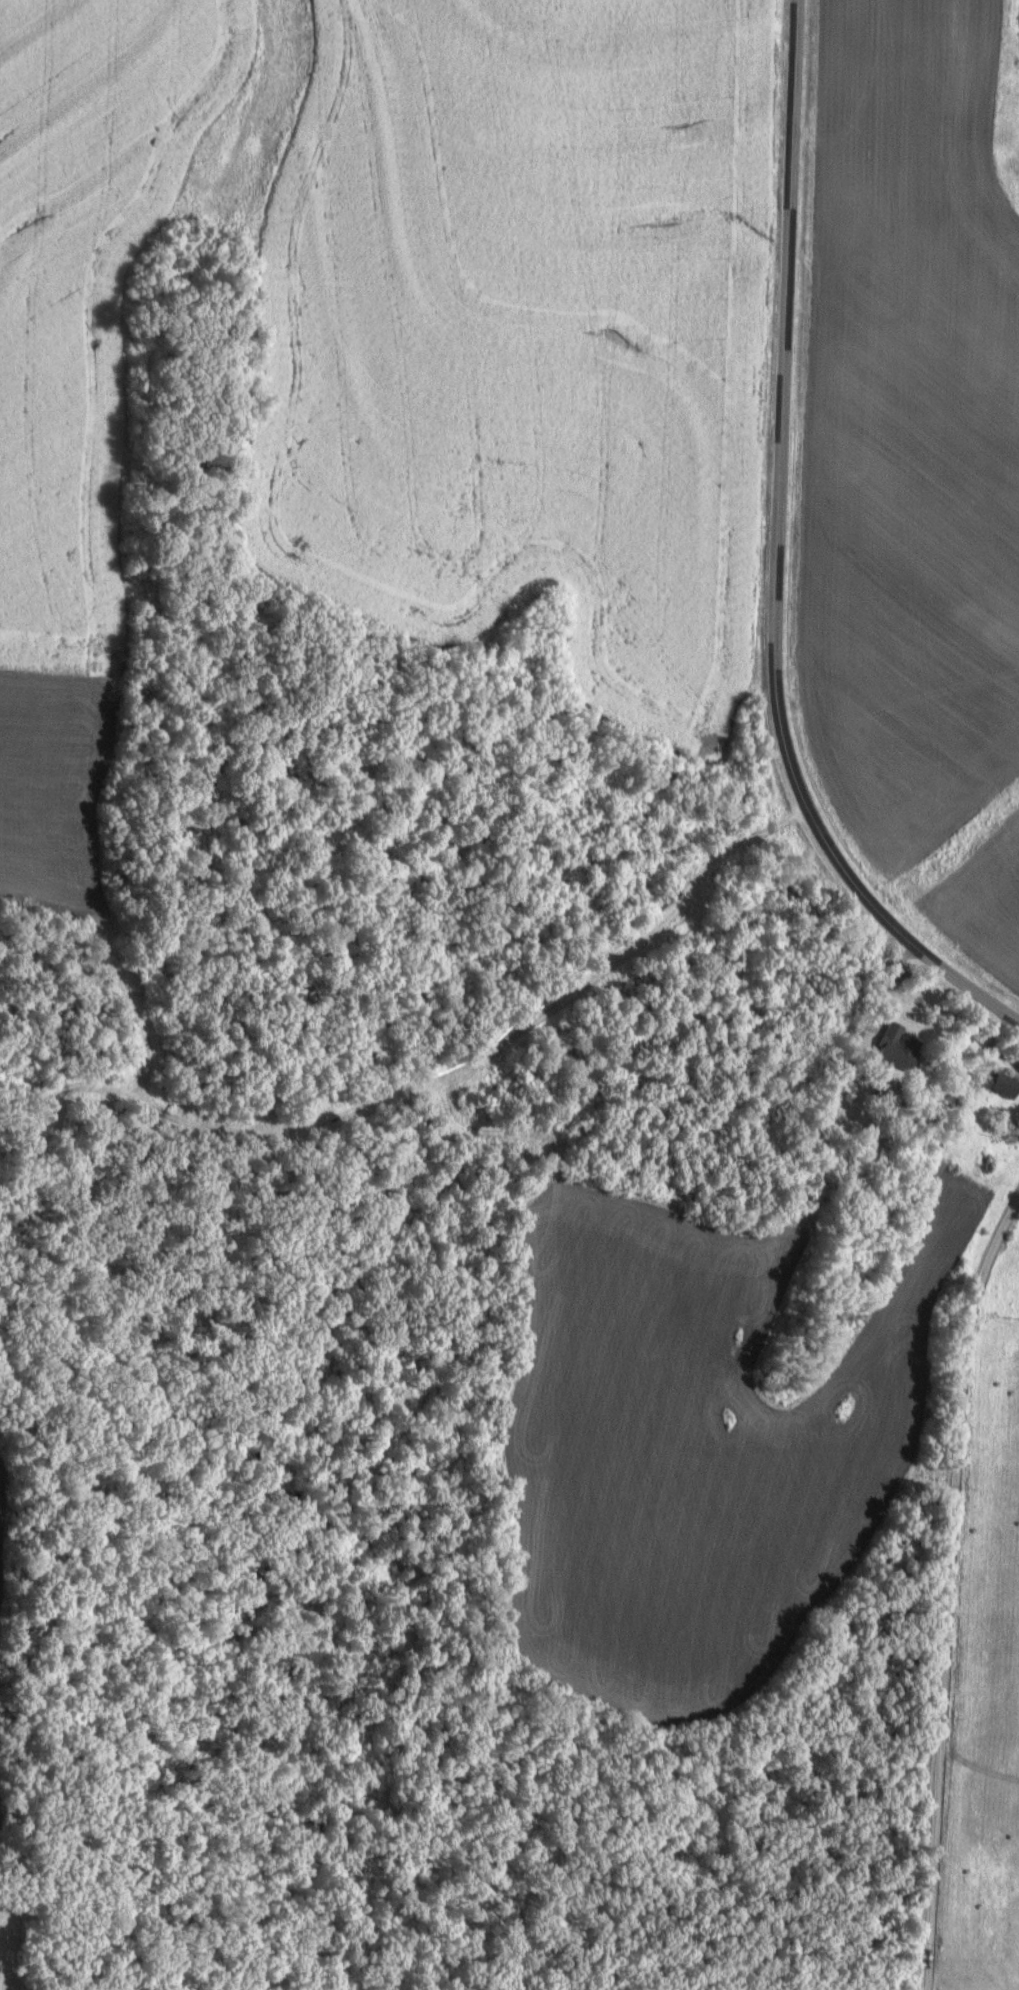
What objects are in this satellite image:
road: (775, 556)
building: (899, 1045)
building: (1007, 1084)
road: (947, 1583)

